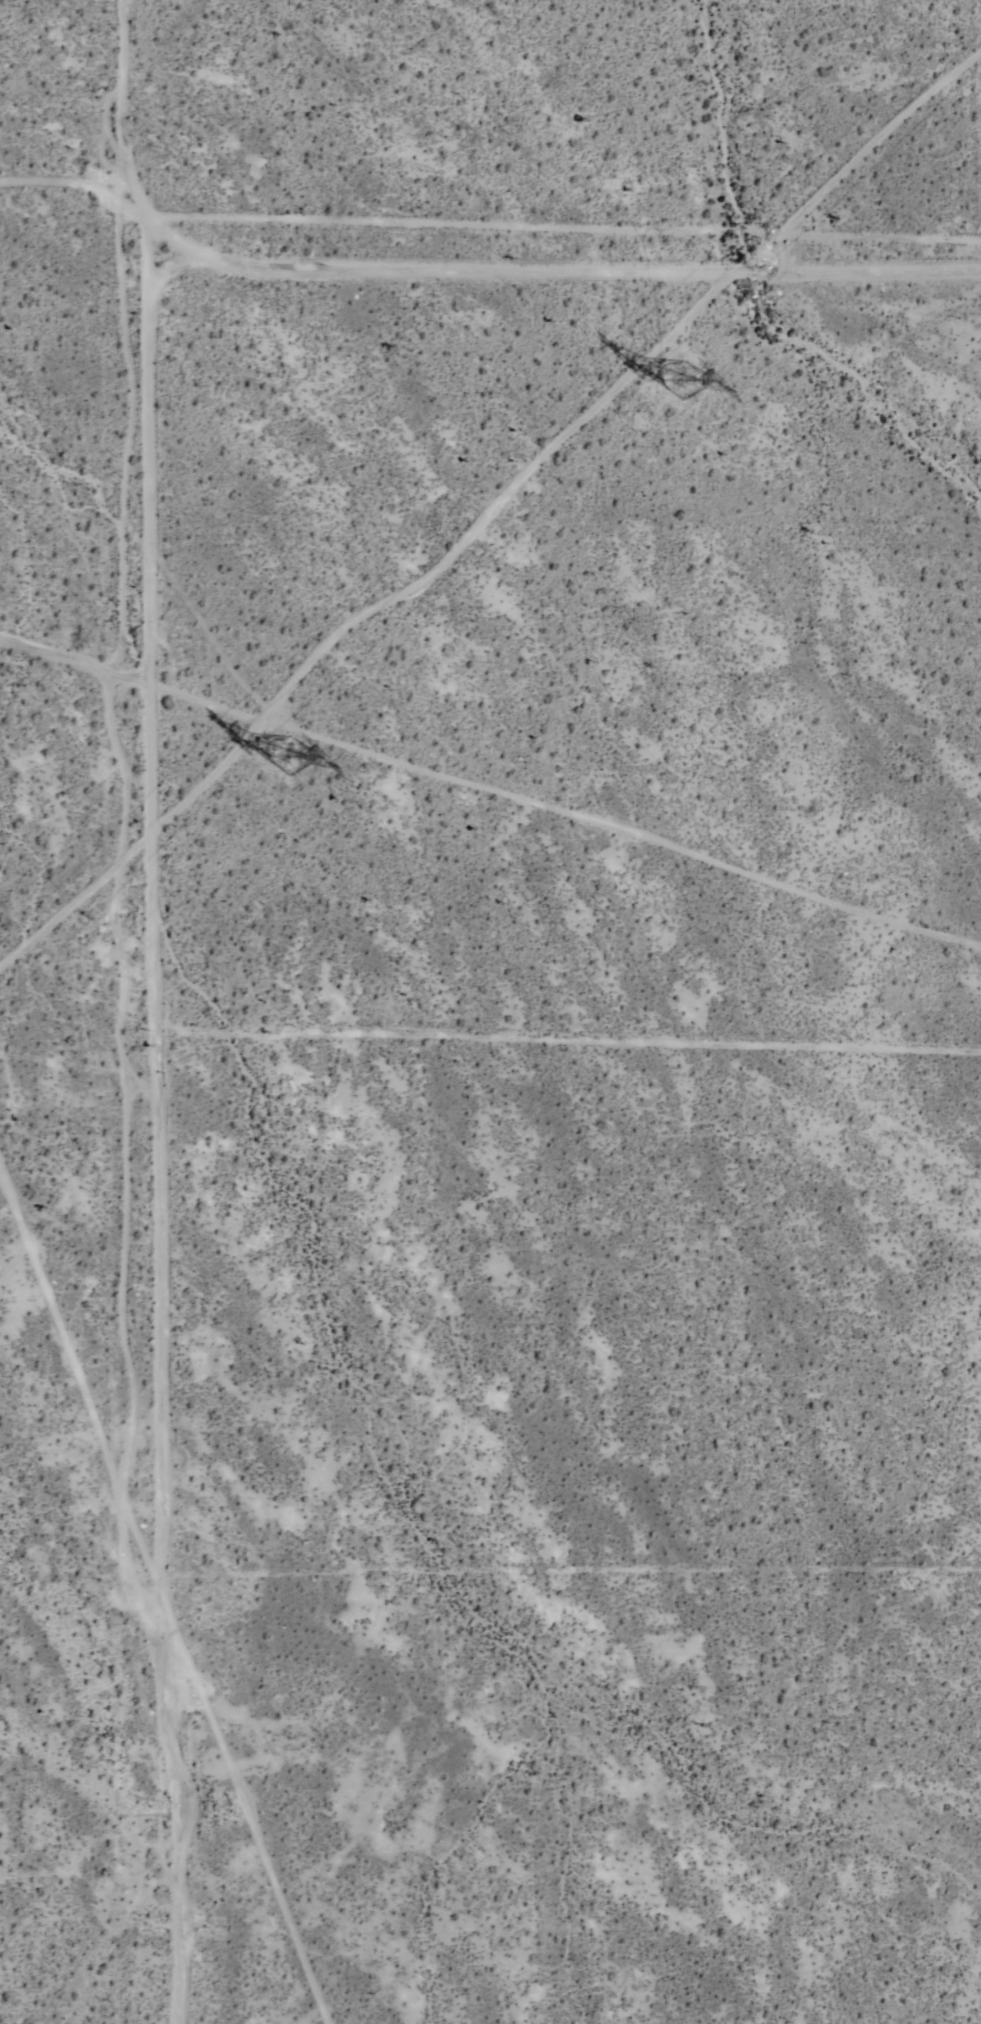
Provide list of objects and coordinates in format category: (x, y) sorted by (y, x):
road: (78, 183)
road: (564, 272)
power tower: (667, 381)
road: (73, 669)
power tower: (279, 761)
road: (131, 1014)
road: (556, 1041)

